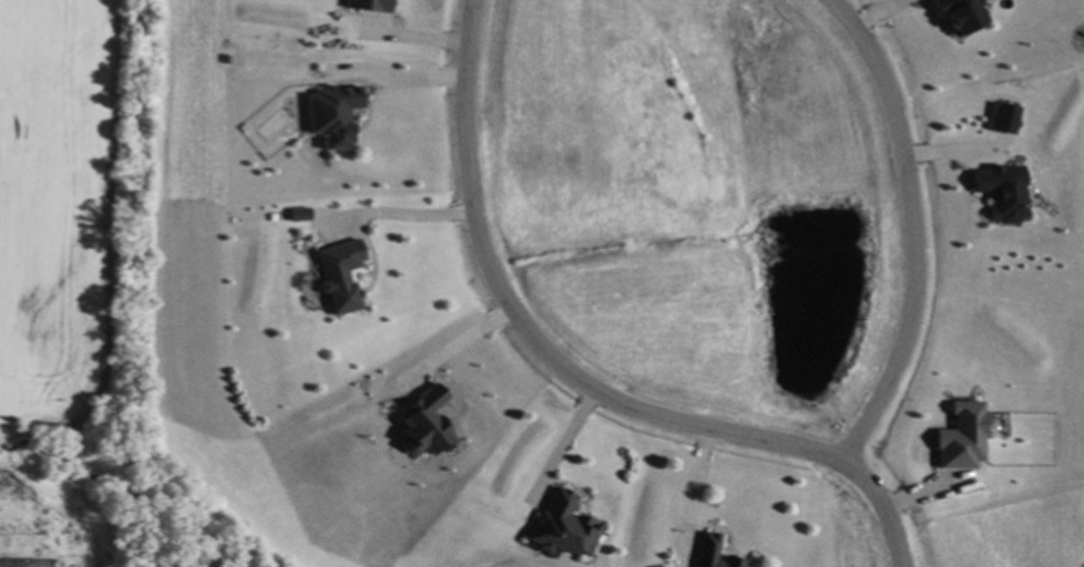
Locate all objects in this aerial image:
building: (367, 3)
building: (959, 13)
road: (403, 81)
building: (330, 113)
building: (1003, 115)
building: (1001, 190)
road: (397, 208)
building: (297, 213)
road: (914, 228)
crop: (50, 267)
building: (337, 274)
road: (529, 332)
road: (459, 339)
building: (423, 421)
building: (961, 435)
road: (561, 444)
road: (695, 487)
road: (883, 508)
building: (559, 525)
building: (712, 553)

